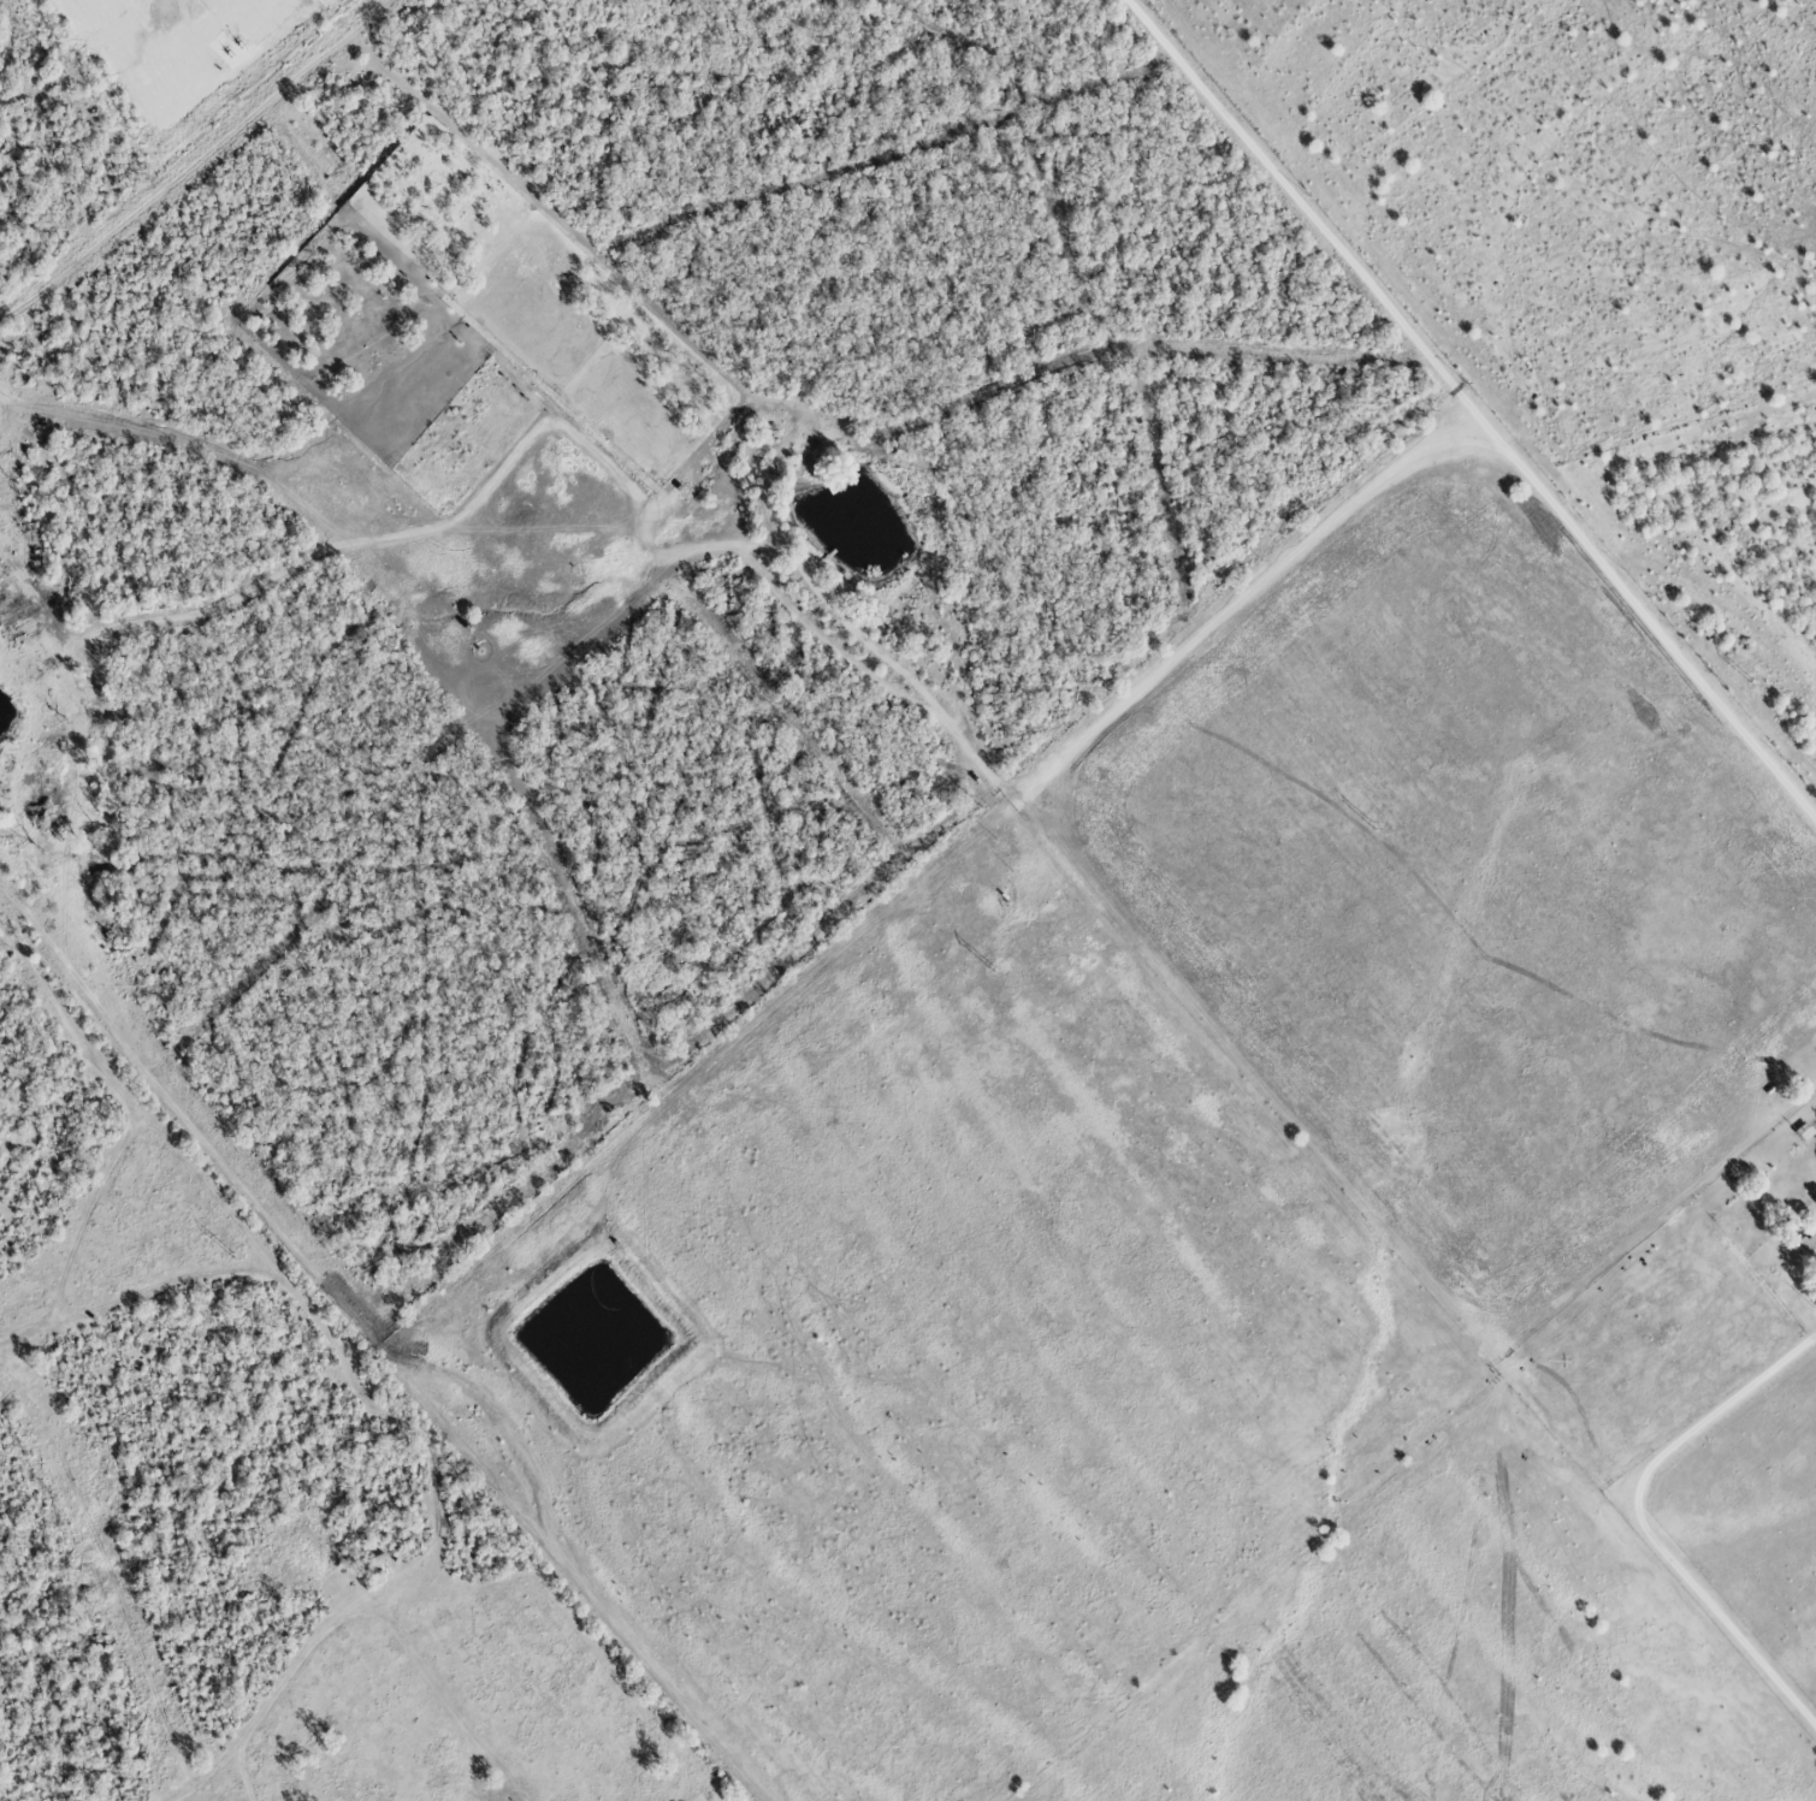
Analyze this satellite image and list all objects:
road: (131, 1)
road: (1471, 407)
power tower: (1752, 680)
road: (1051, 768)
power tower: (1371, 823)
power tower: (994, 965)
power tower: (610, 1110)
building: (1808, 1246)
power tower: (231, 1254)
road: (1640, 1513)
building: (374, 1564)

